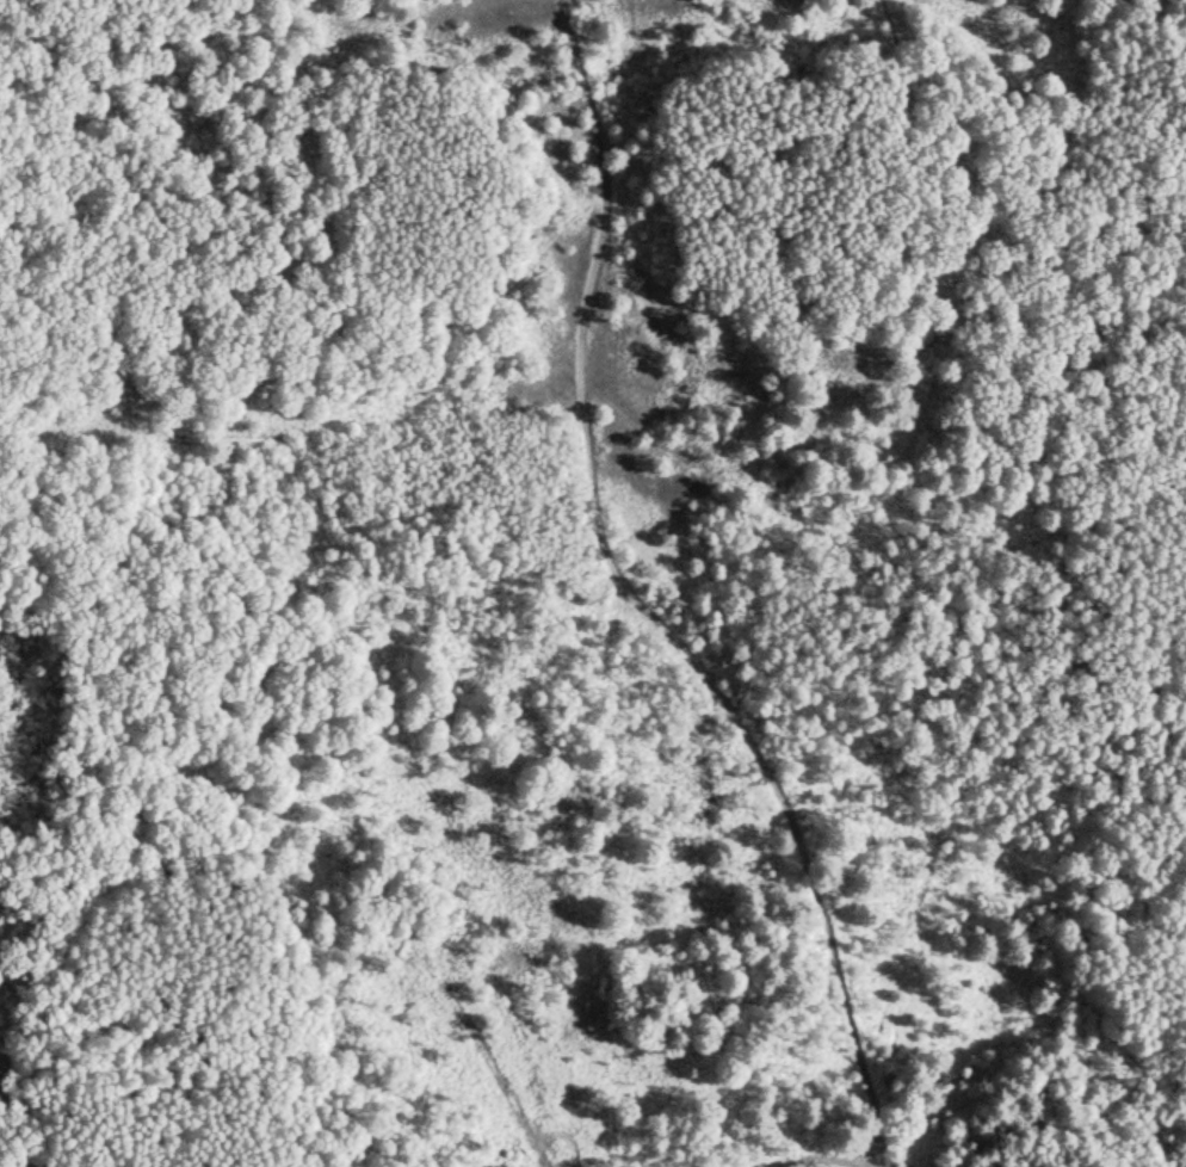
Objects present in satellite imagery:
road: (1038, 224)
road: (679, 415)
road: (643, 599)

